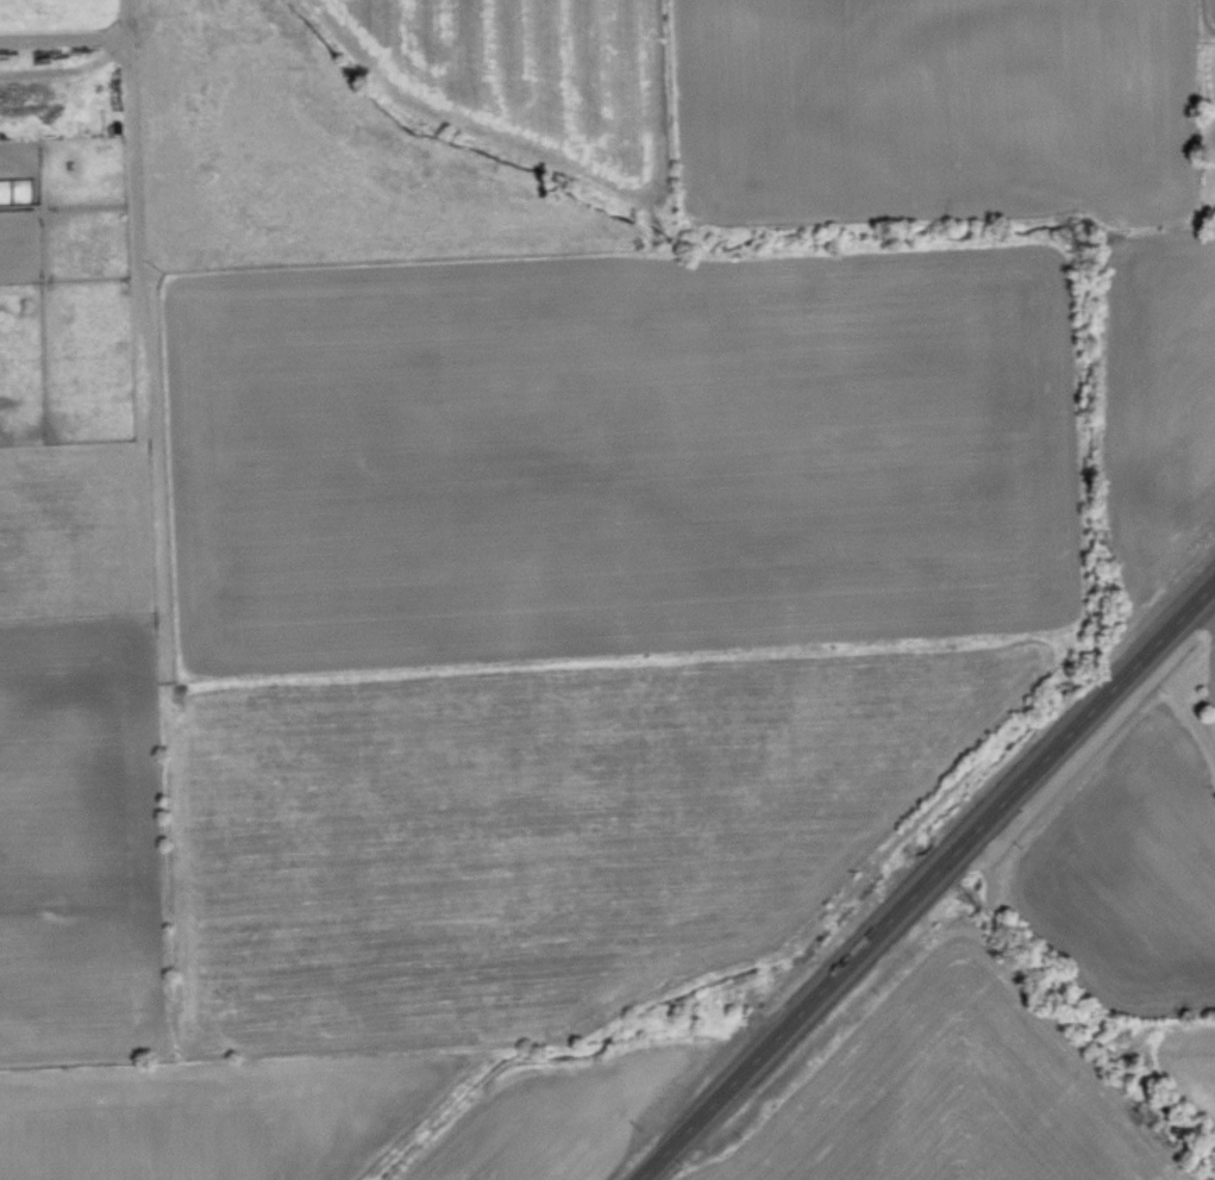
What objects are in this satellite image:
road: (931, 885)

